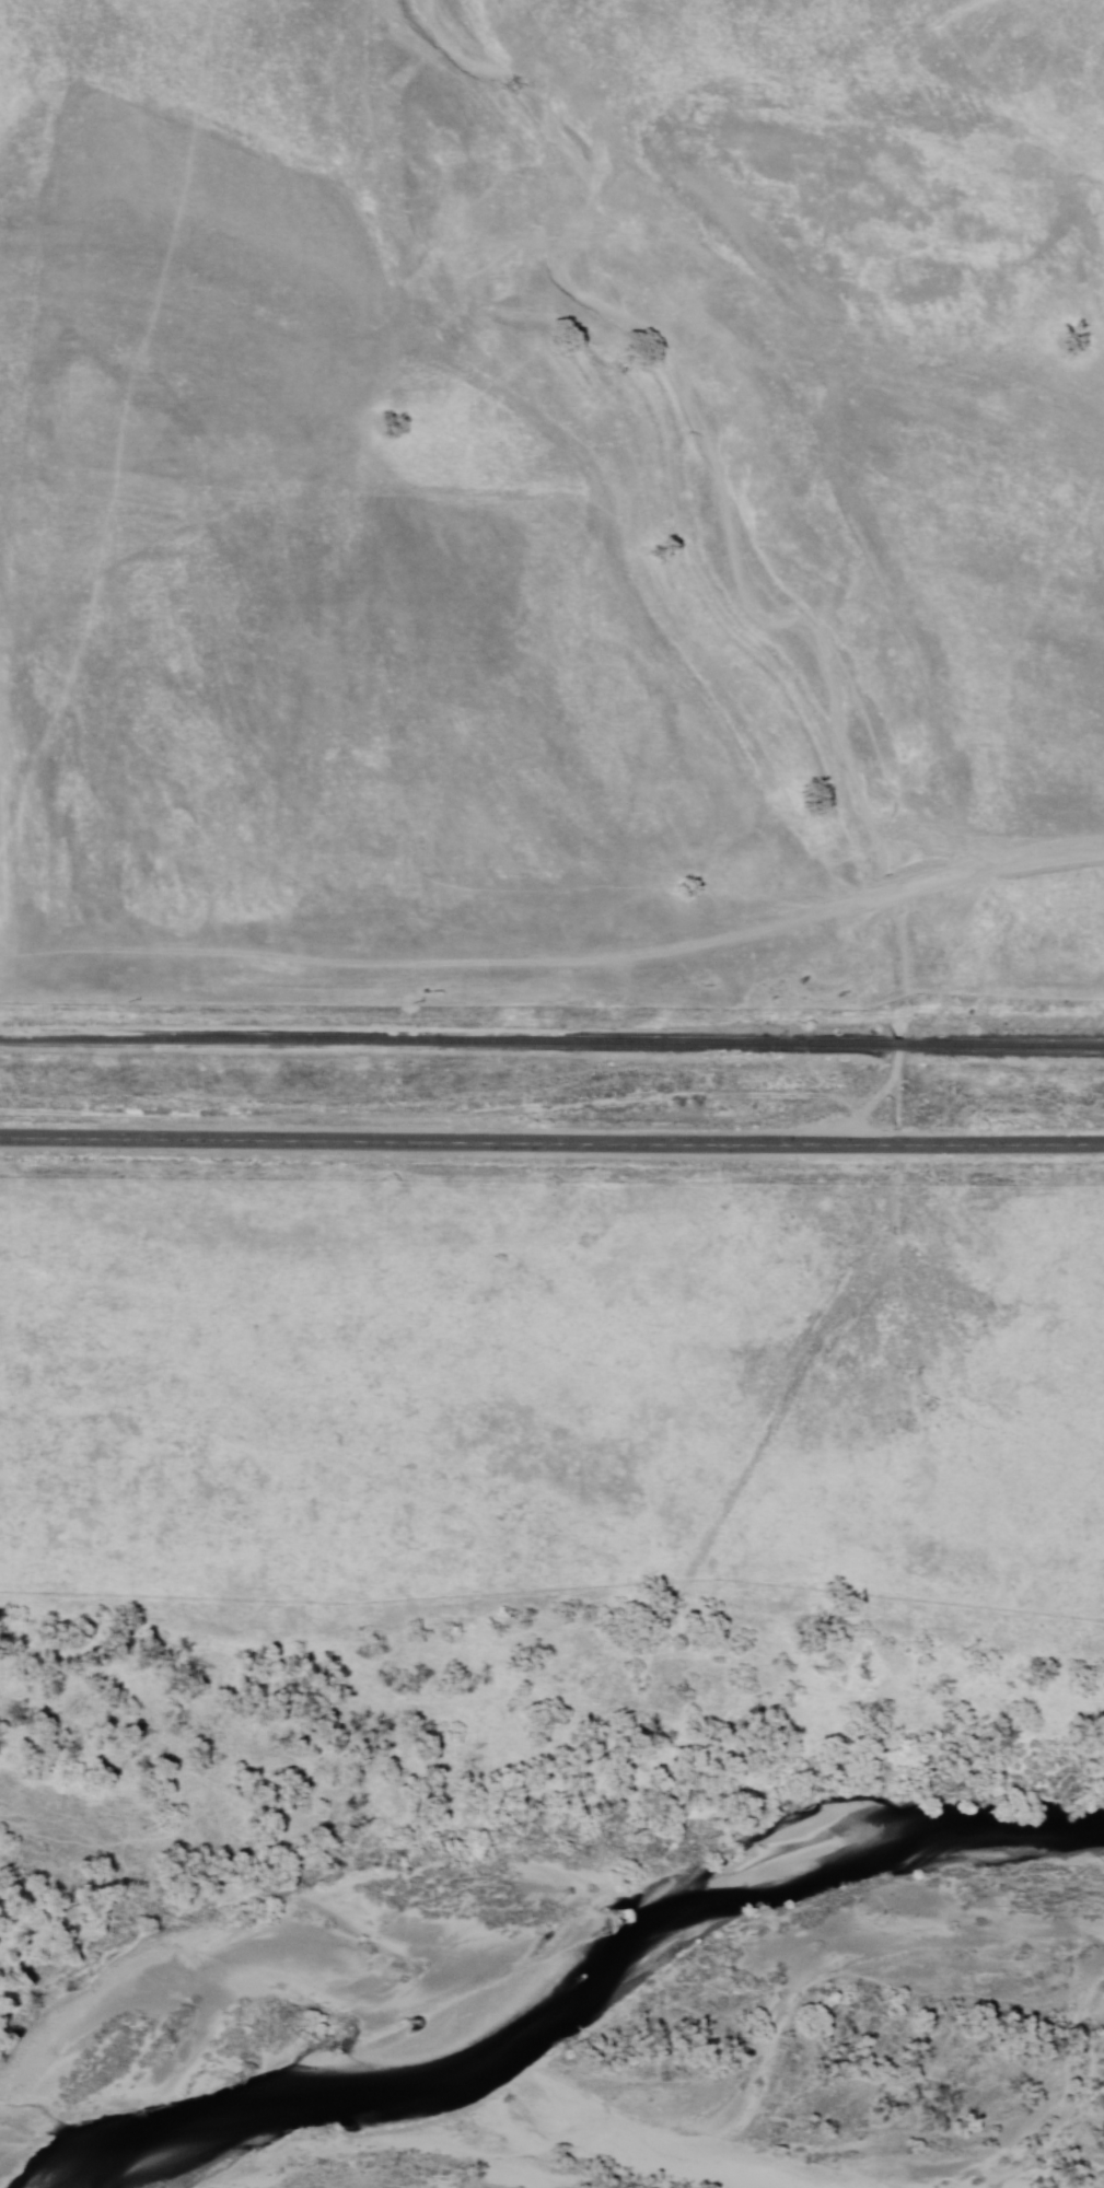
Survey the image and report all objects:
road: (585, 344)
road: (467, 538)
quarry: (349, 737)
road: (830, 913)
road: (278, 964)
road: (988, 996)
railway: (551, 1045)
road: (873, 1098)
road: (551, 1142)
park: (524, 1498)
river: (694, 1927)
river: (257, 1975)
river: (114, 2095)

